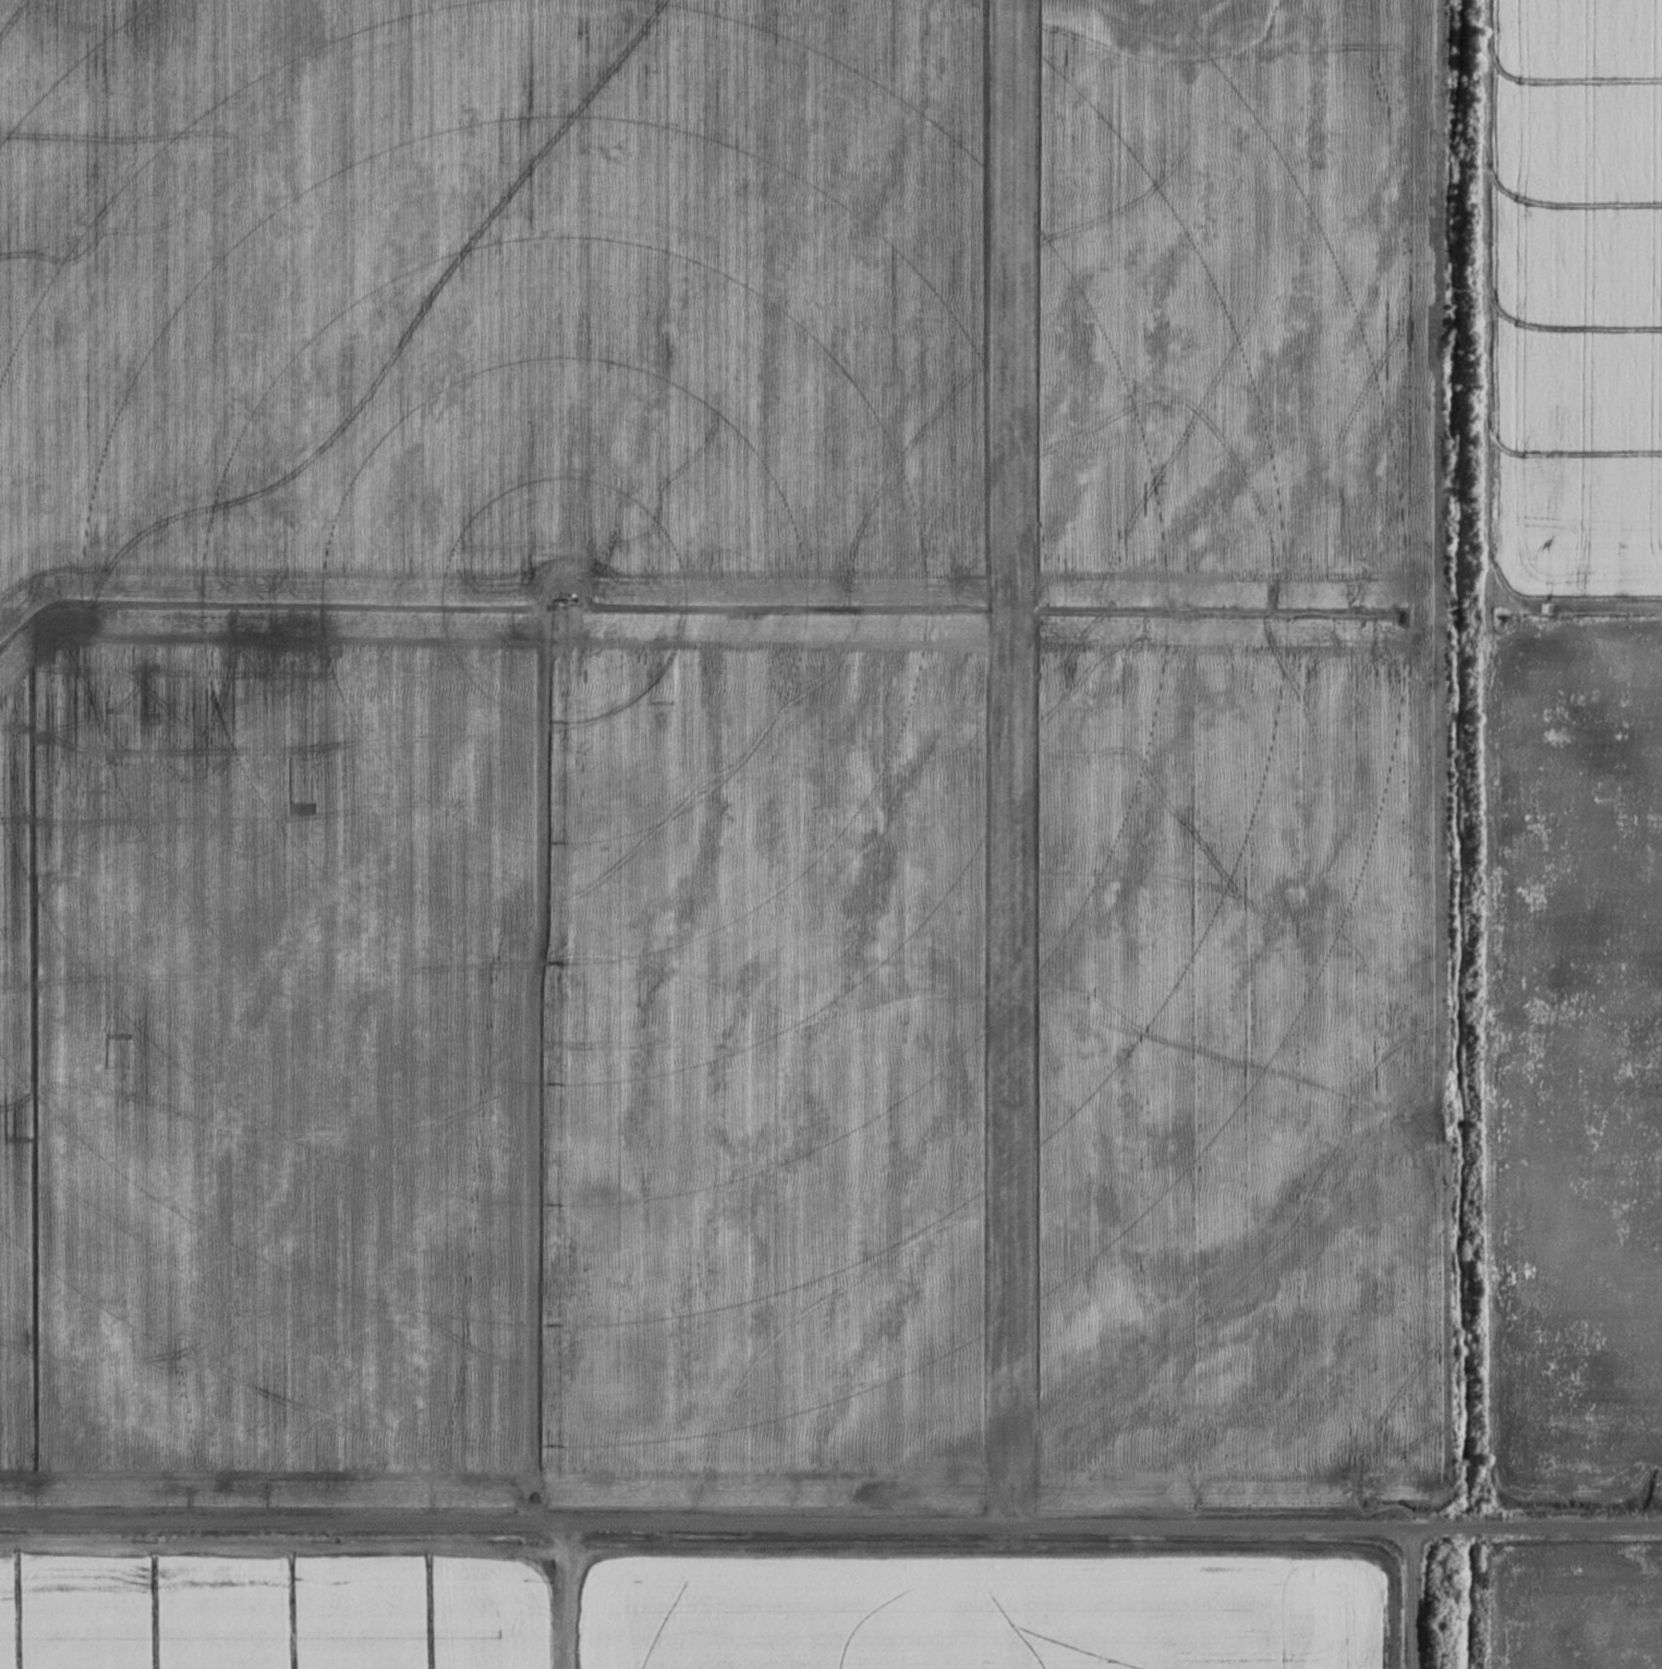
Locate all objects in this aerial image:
airport runway: (1006, 740)
road: (530, 1050)
road: (830, 1522)
road: (563, 1595)
road: (1412, 1597)

